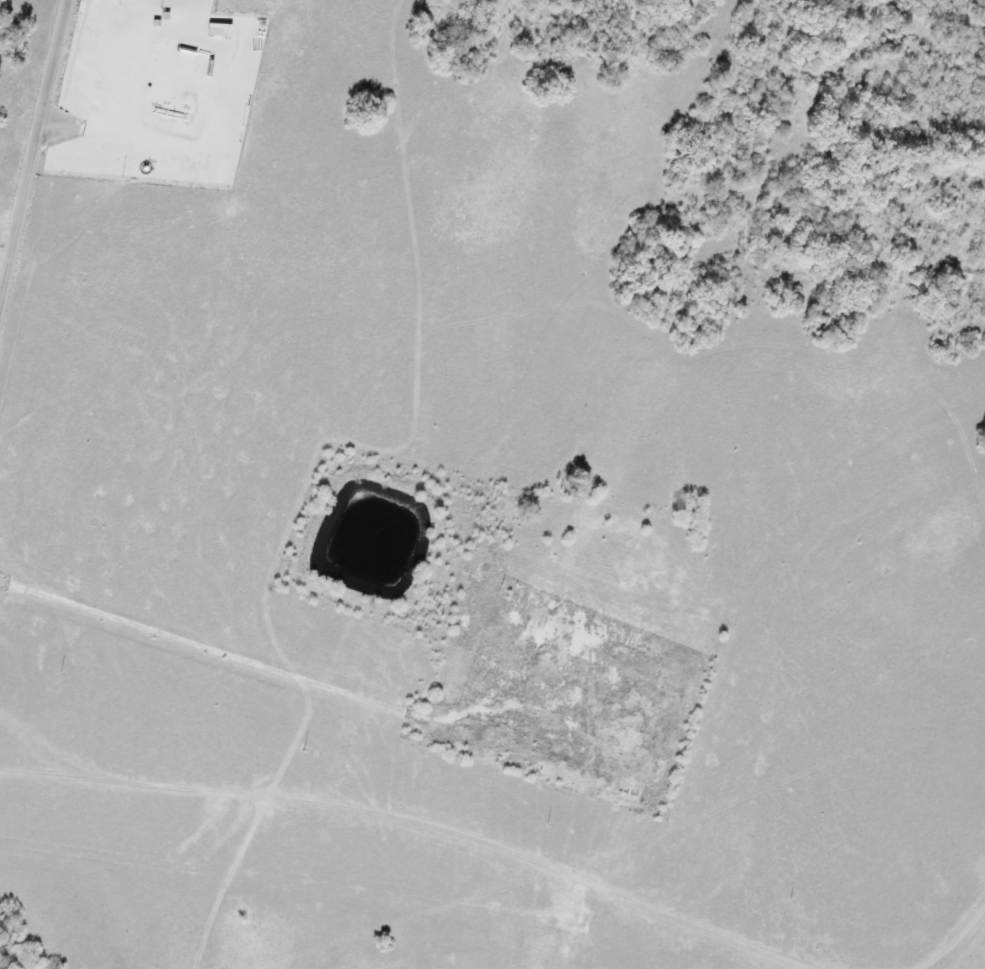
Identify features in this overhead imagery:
road: (35, 161)
road: (423, 643)

